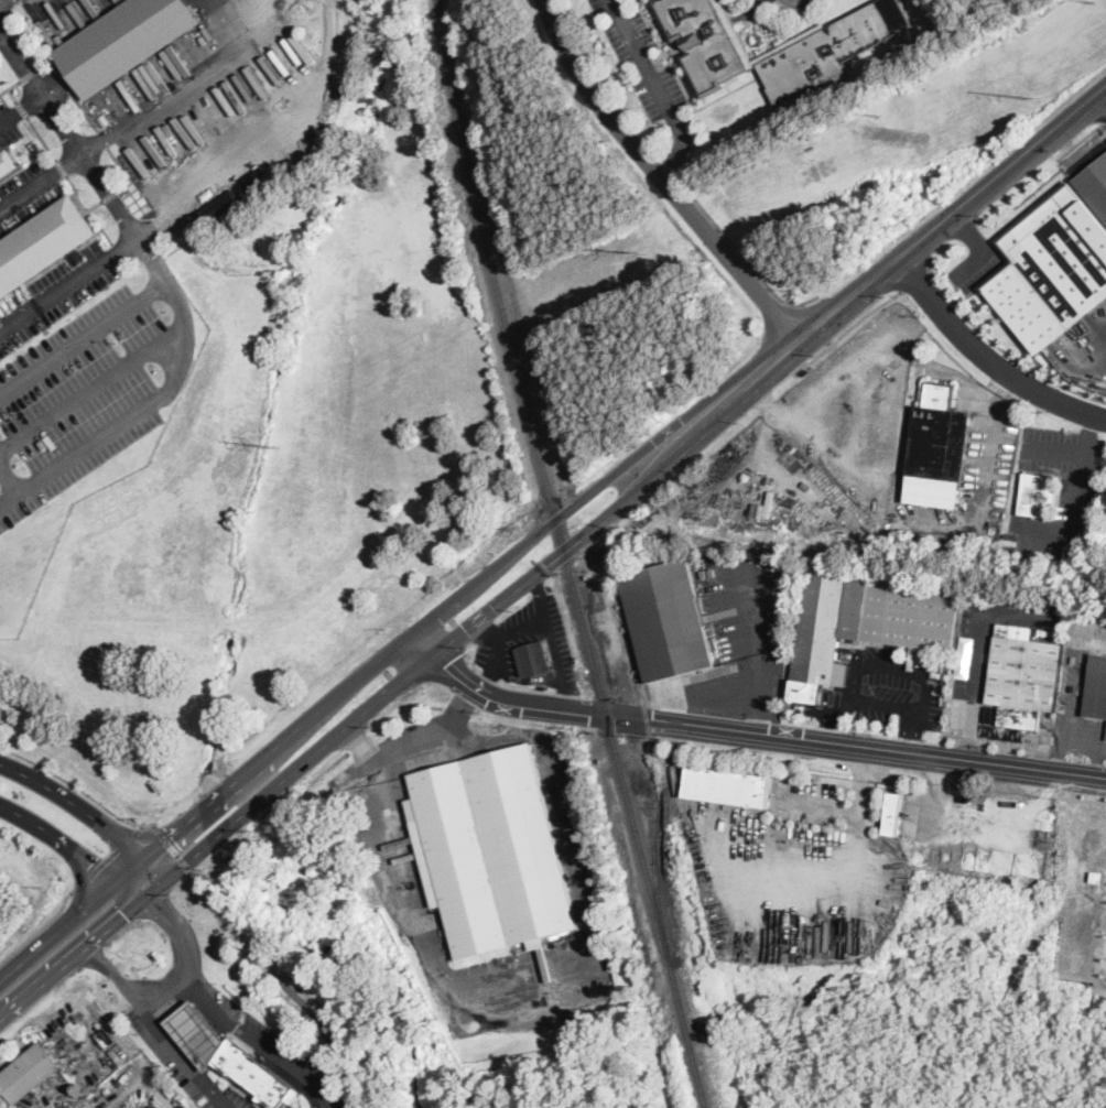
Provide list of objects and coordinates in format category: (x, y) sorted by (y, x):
power tower: (1095, 0)
road: (3, 1)
parking lot: (65, 15)
building: (124, 41)
building: (186, 43)
road: (664, 53)
building: (811, 54)
road: (48, 59)
road: (28, 74)
road: (63, 79)
road: (188, 86)
road: (658, 87)
road: (7, 88)
road: (3, 90)
park: (996, 91)
power tower: (1040, 98)
road: (1100, 99)
road: (22, 107)
road: (20, 110)
road: (84, 110)
building: (99, 111)
power tower: (880, 115)
parking lot: (9, 127)
road: (263, 132)
road: (69, 135)
road: (42, 138)
road: (101, 138)
building: (35, 145)
building: (7, 161)
road: (62, 166)
road: (121, 170)
road: (674, 173)
road: (681, 174)
road: (662, 176)
building: (257, 178)
road: (40, 181)
building: (1095, 185)
road: (75, 192)
parking lot: (26, 194)
road: (108, 194)
road: (93, 205)
road: (952, 210)
building: (209, 219)
building: (43, 243)
power tower: (637, 251)
park: (585, 258)
building: (1051, 268)
road: (914, 279)
road: (799, 305)
road: (185, 326)
road: (845, 329)
road: (84, 336)
road: (1000, 348)
road: (987, 356)
parking lot: (87, 365)
road: (93, 389)
road: (893, 420)
road: (989, 437)
parking lot: (985, 441)
power tower: (278, 448)
building: (937, 449)
road: (1054, 449)
road: (8, 484)
parking lot: (1062, 492)
building: (1038, 496)
road: (622, 502)
road: (1080, 503)
building: (935, 543)
railway: (566, 555)
road: (539, 590)
road: (544, 615)
building: (866, 619)
building: (668, 620)
road: (197, 621)
road: (488, 629)
road: (755, 632)
road: (980, 634)
parking lot: (738, 637)
building: (849, 642)
road: (425, 643)
road: (392, 651)
building: (533, 658)
building: (1023, 677)
road: (486, 681)
parking lot: (971, 684)
building: (1096, 688)
parking lot: (891, 691)
road: (481, 694)
road: (715, 694)
road: (567, 695)
road: (875, 696)
road: (460, 709)
road: (755, 713)
road: (825, 740)
road: (995, 741)
road: (967, 743)
road: (361, 745)
road: (413, 747)
railway: (654, 761)
road: (290, 772)
building: (728, 786)
road: (78, 787)
road: (1082, 800)
parking lot: (812, 801)
road: (822, 804)
building: (894, 812)
road: (90, 815)
traffic signals: (173, 836)
road: (174, 848)
road: (850, 848)
road: (74, 849)
building: (490, 850)
road: (107, 857)
traffic signals: (90, 863)
building: (1096, 876)
traffic signals: (159, 905)
traffic signals: (126, 914)
road: (39, 927)
road: (184, 935)
road: (74, 957)
road: (562, 985)
road: (290, 989)
road: (174, 1006)
road: (149, 1015)
road: (265, 1047)
parking lot: (273, 1049)
building: (229, 1056)
parking lot: (182, 1060)
building: (29, 1072)
road: (289, 1075)
road: (219, 1098)
building: (156, 1107)

